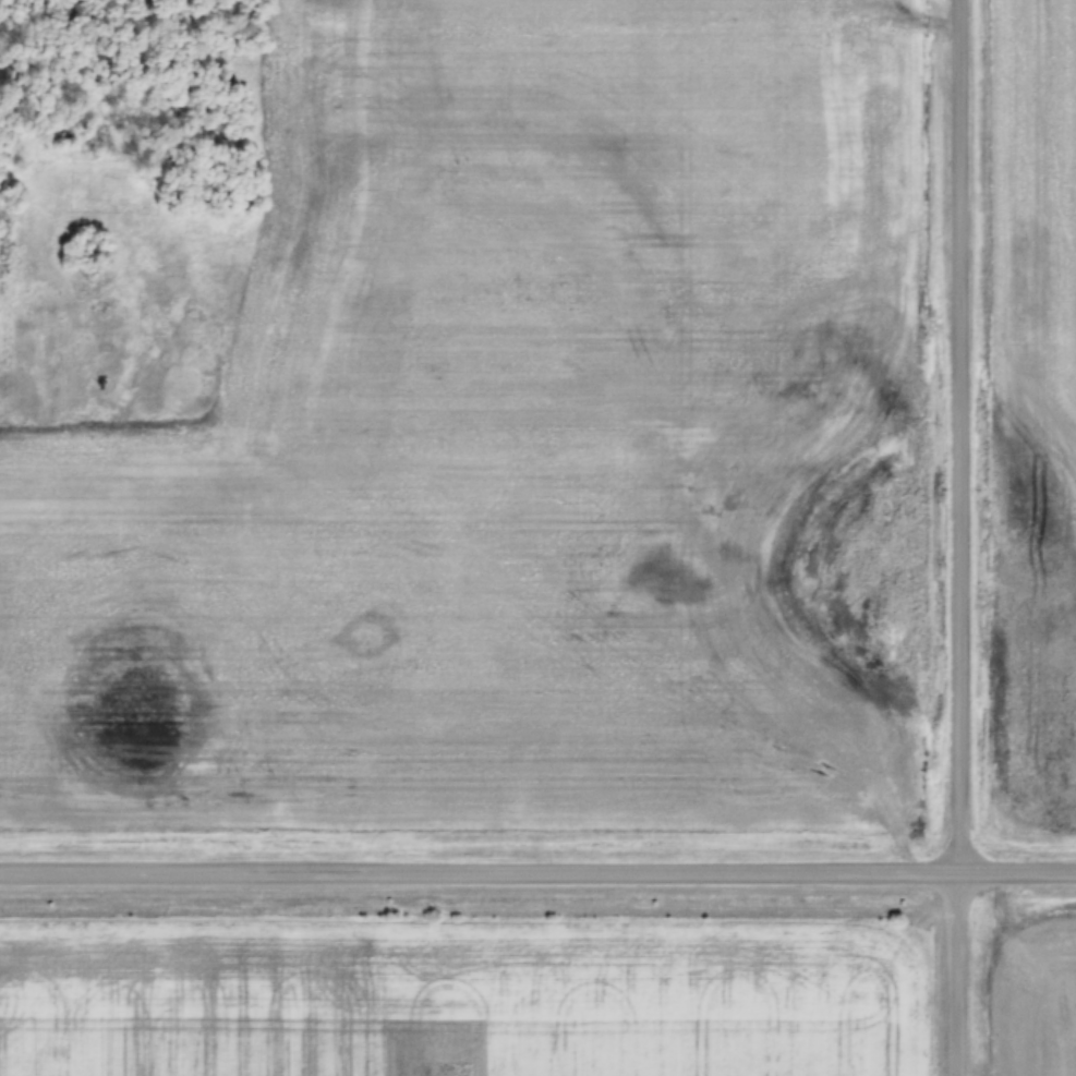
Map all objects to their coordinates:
road: (960, 436)
road: (537, 872)
road: (962, 975)

